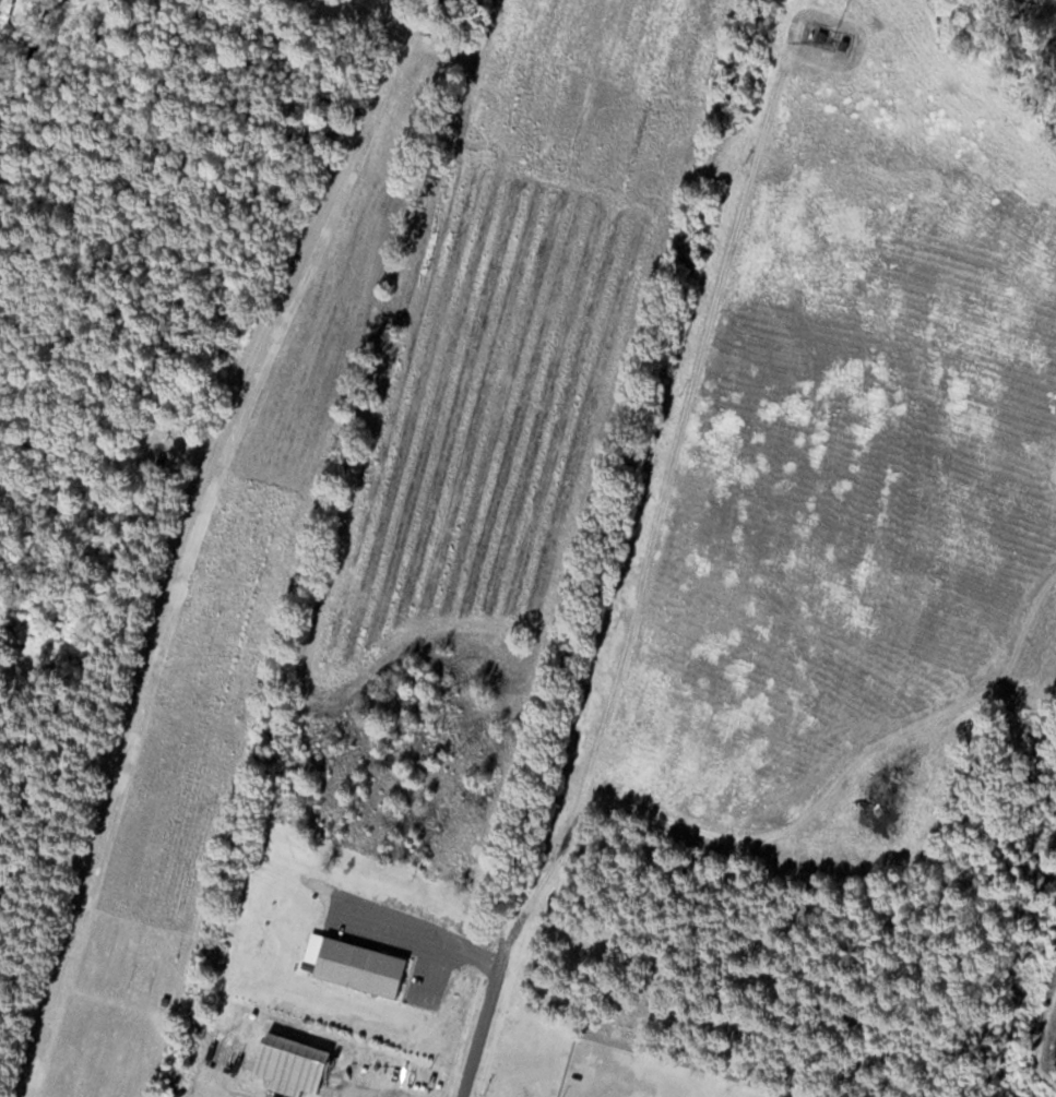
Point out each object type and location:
road: (167, 496)
building: (359, 966)
road: (483, 1025)
building: (290, 1063)

